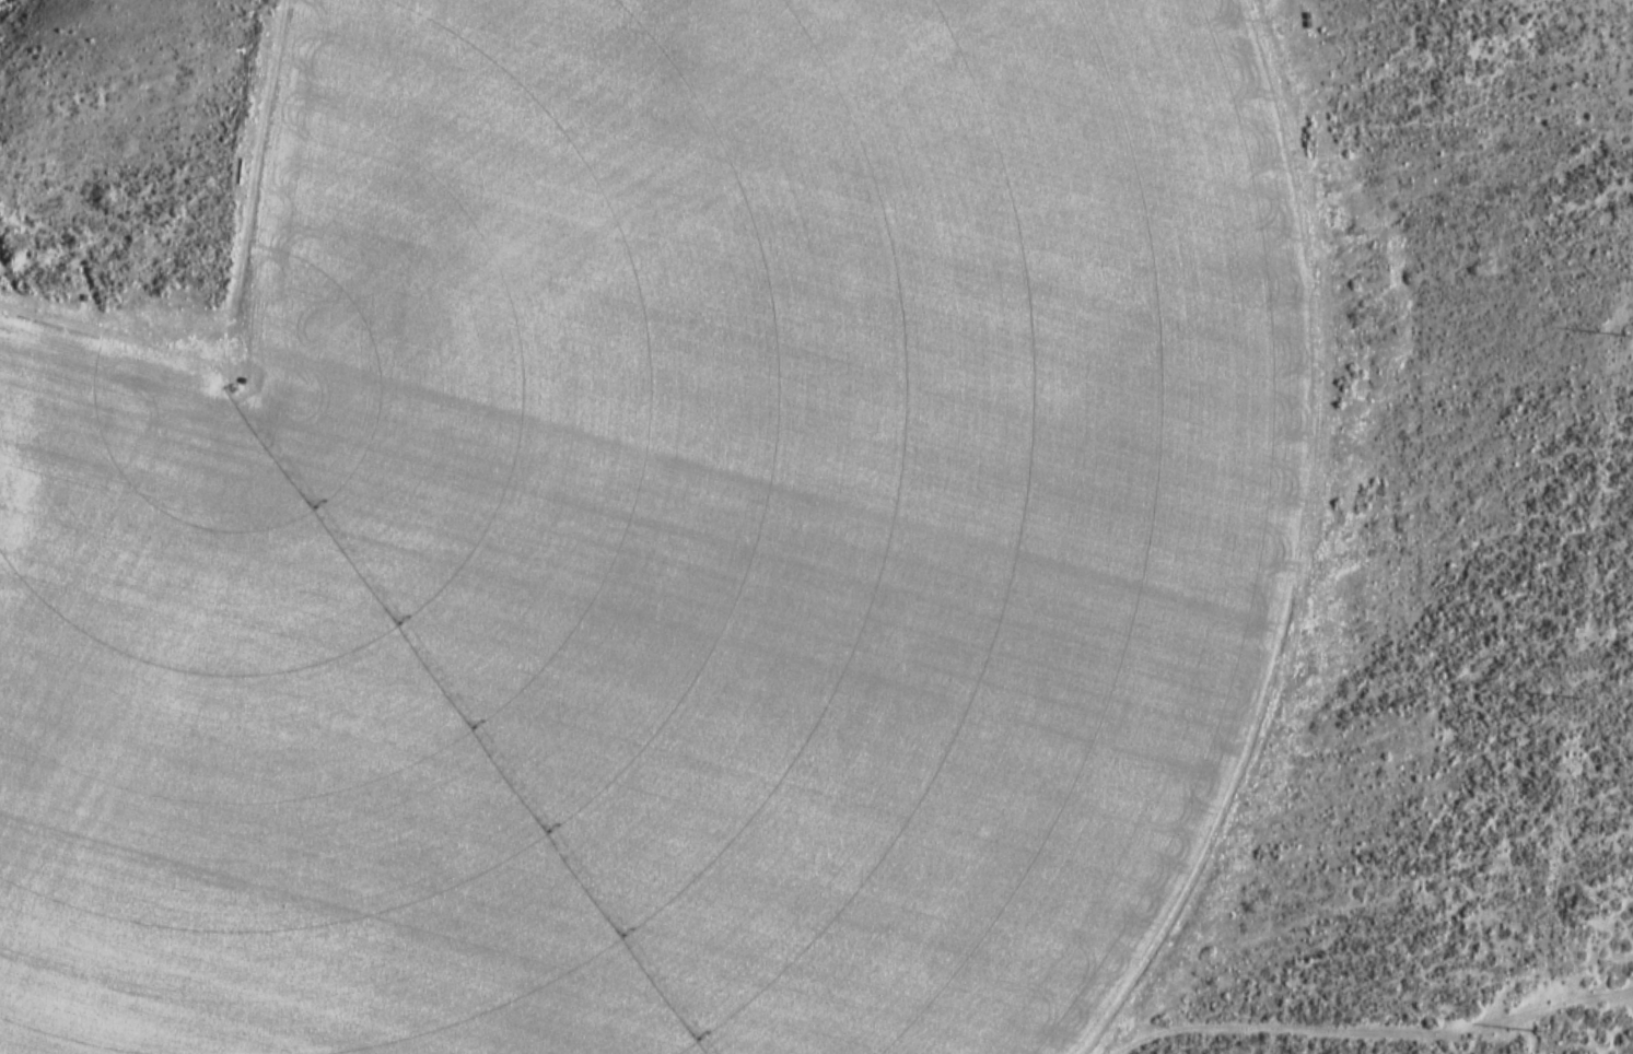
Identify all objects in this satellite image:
crop: (667, 541)

